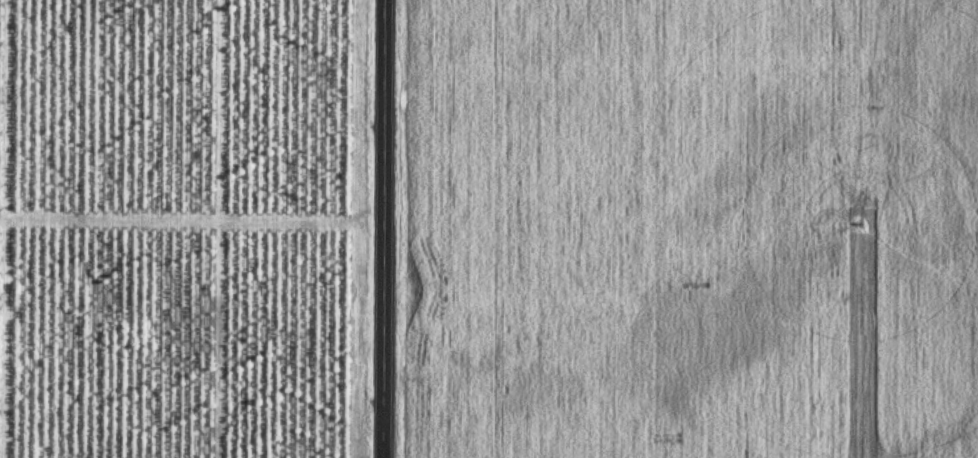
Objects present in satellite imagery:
road: (386, 229)

